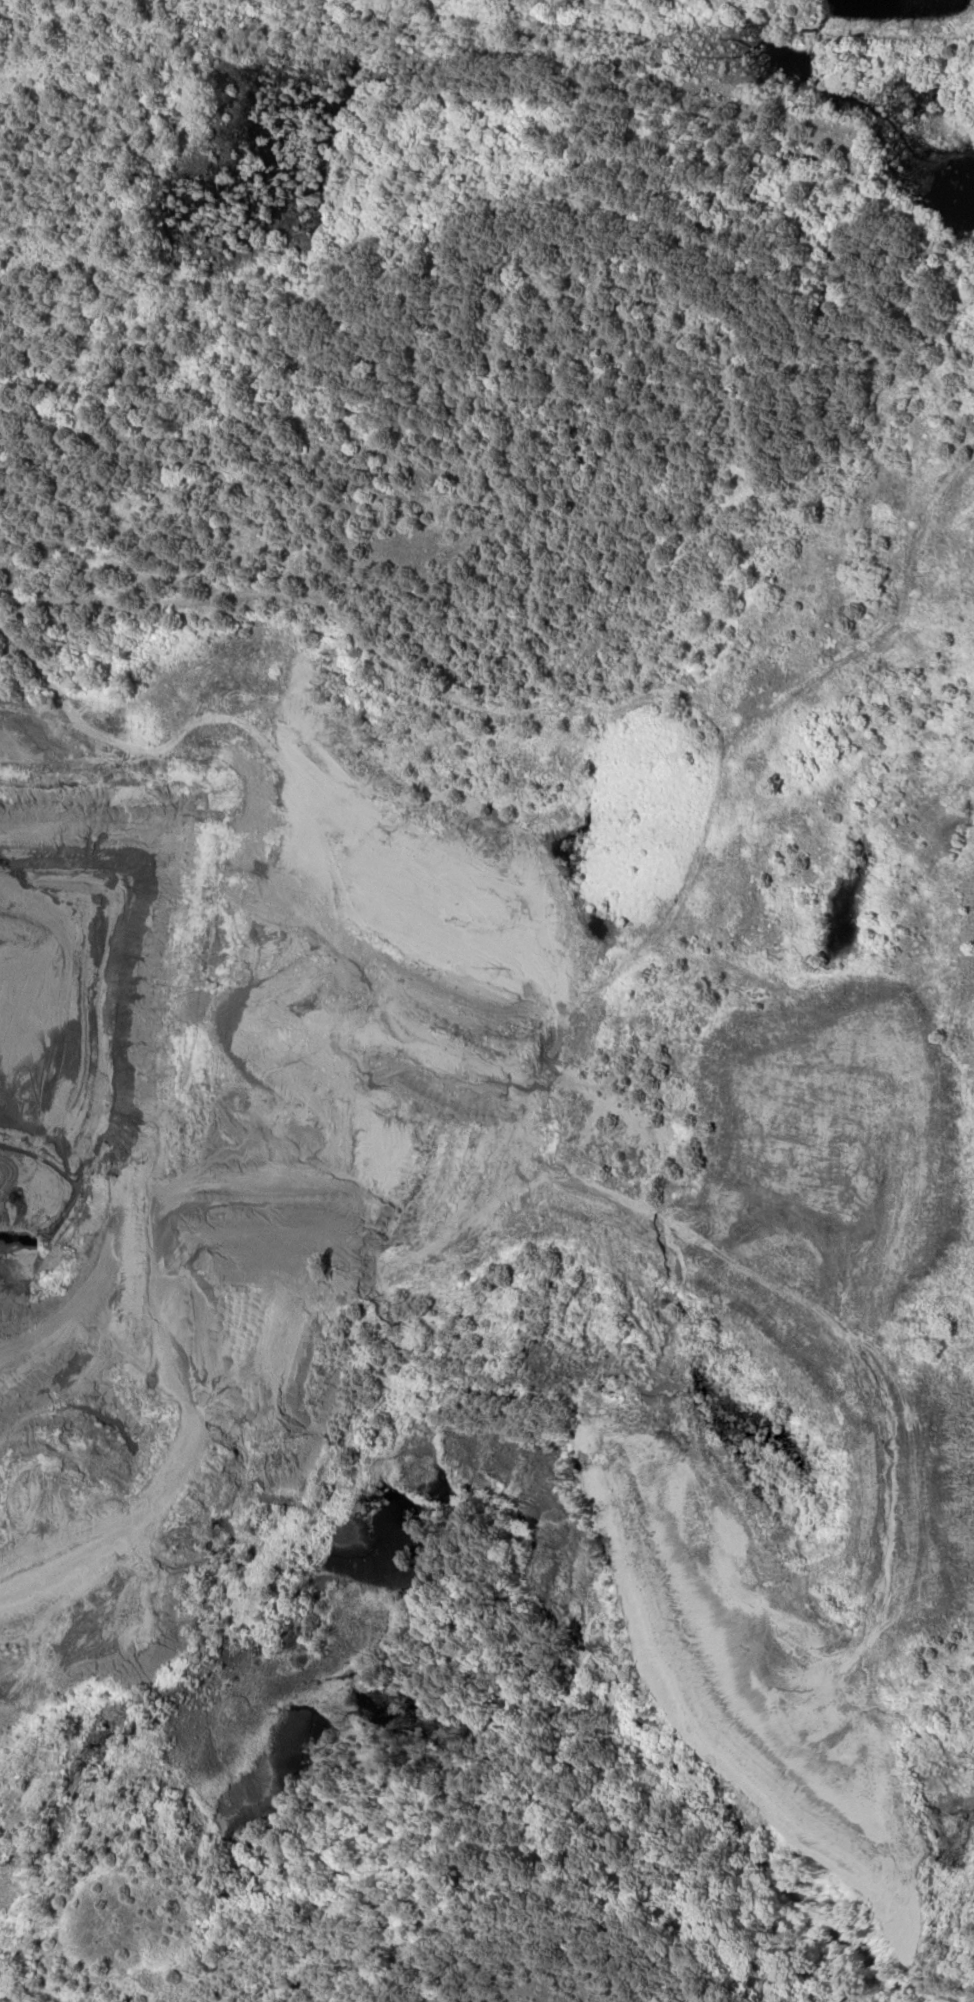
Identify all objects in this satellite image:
road: (479, 349)
road: (336, 1049)
road: (31, 1506)

